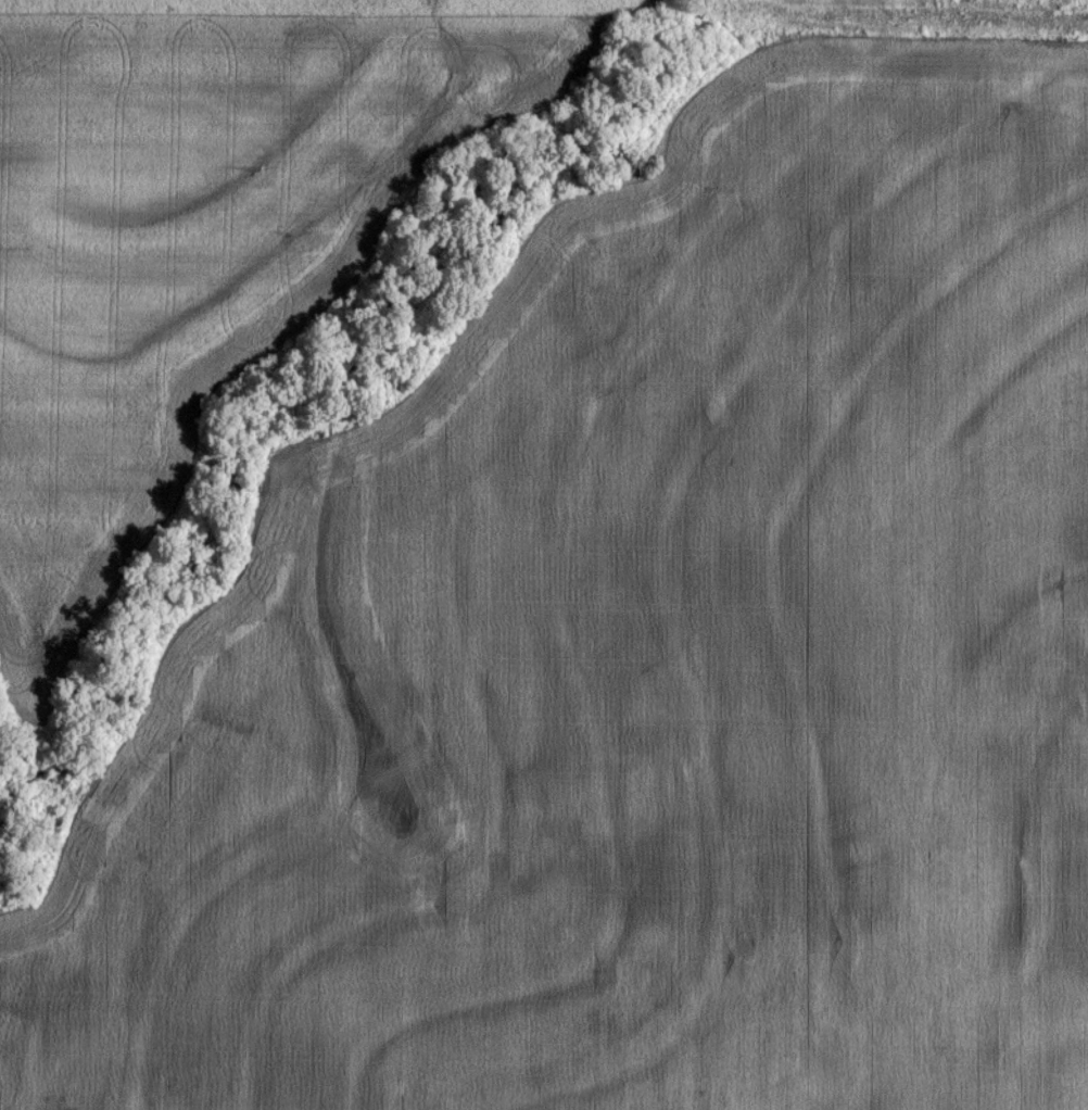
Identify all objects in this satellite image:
crop: (345, 8)
crop: (194, 254)
crop: (646, 659)

